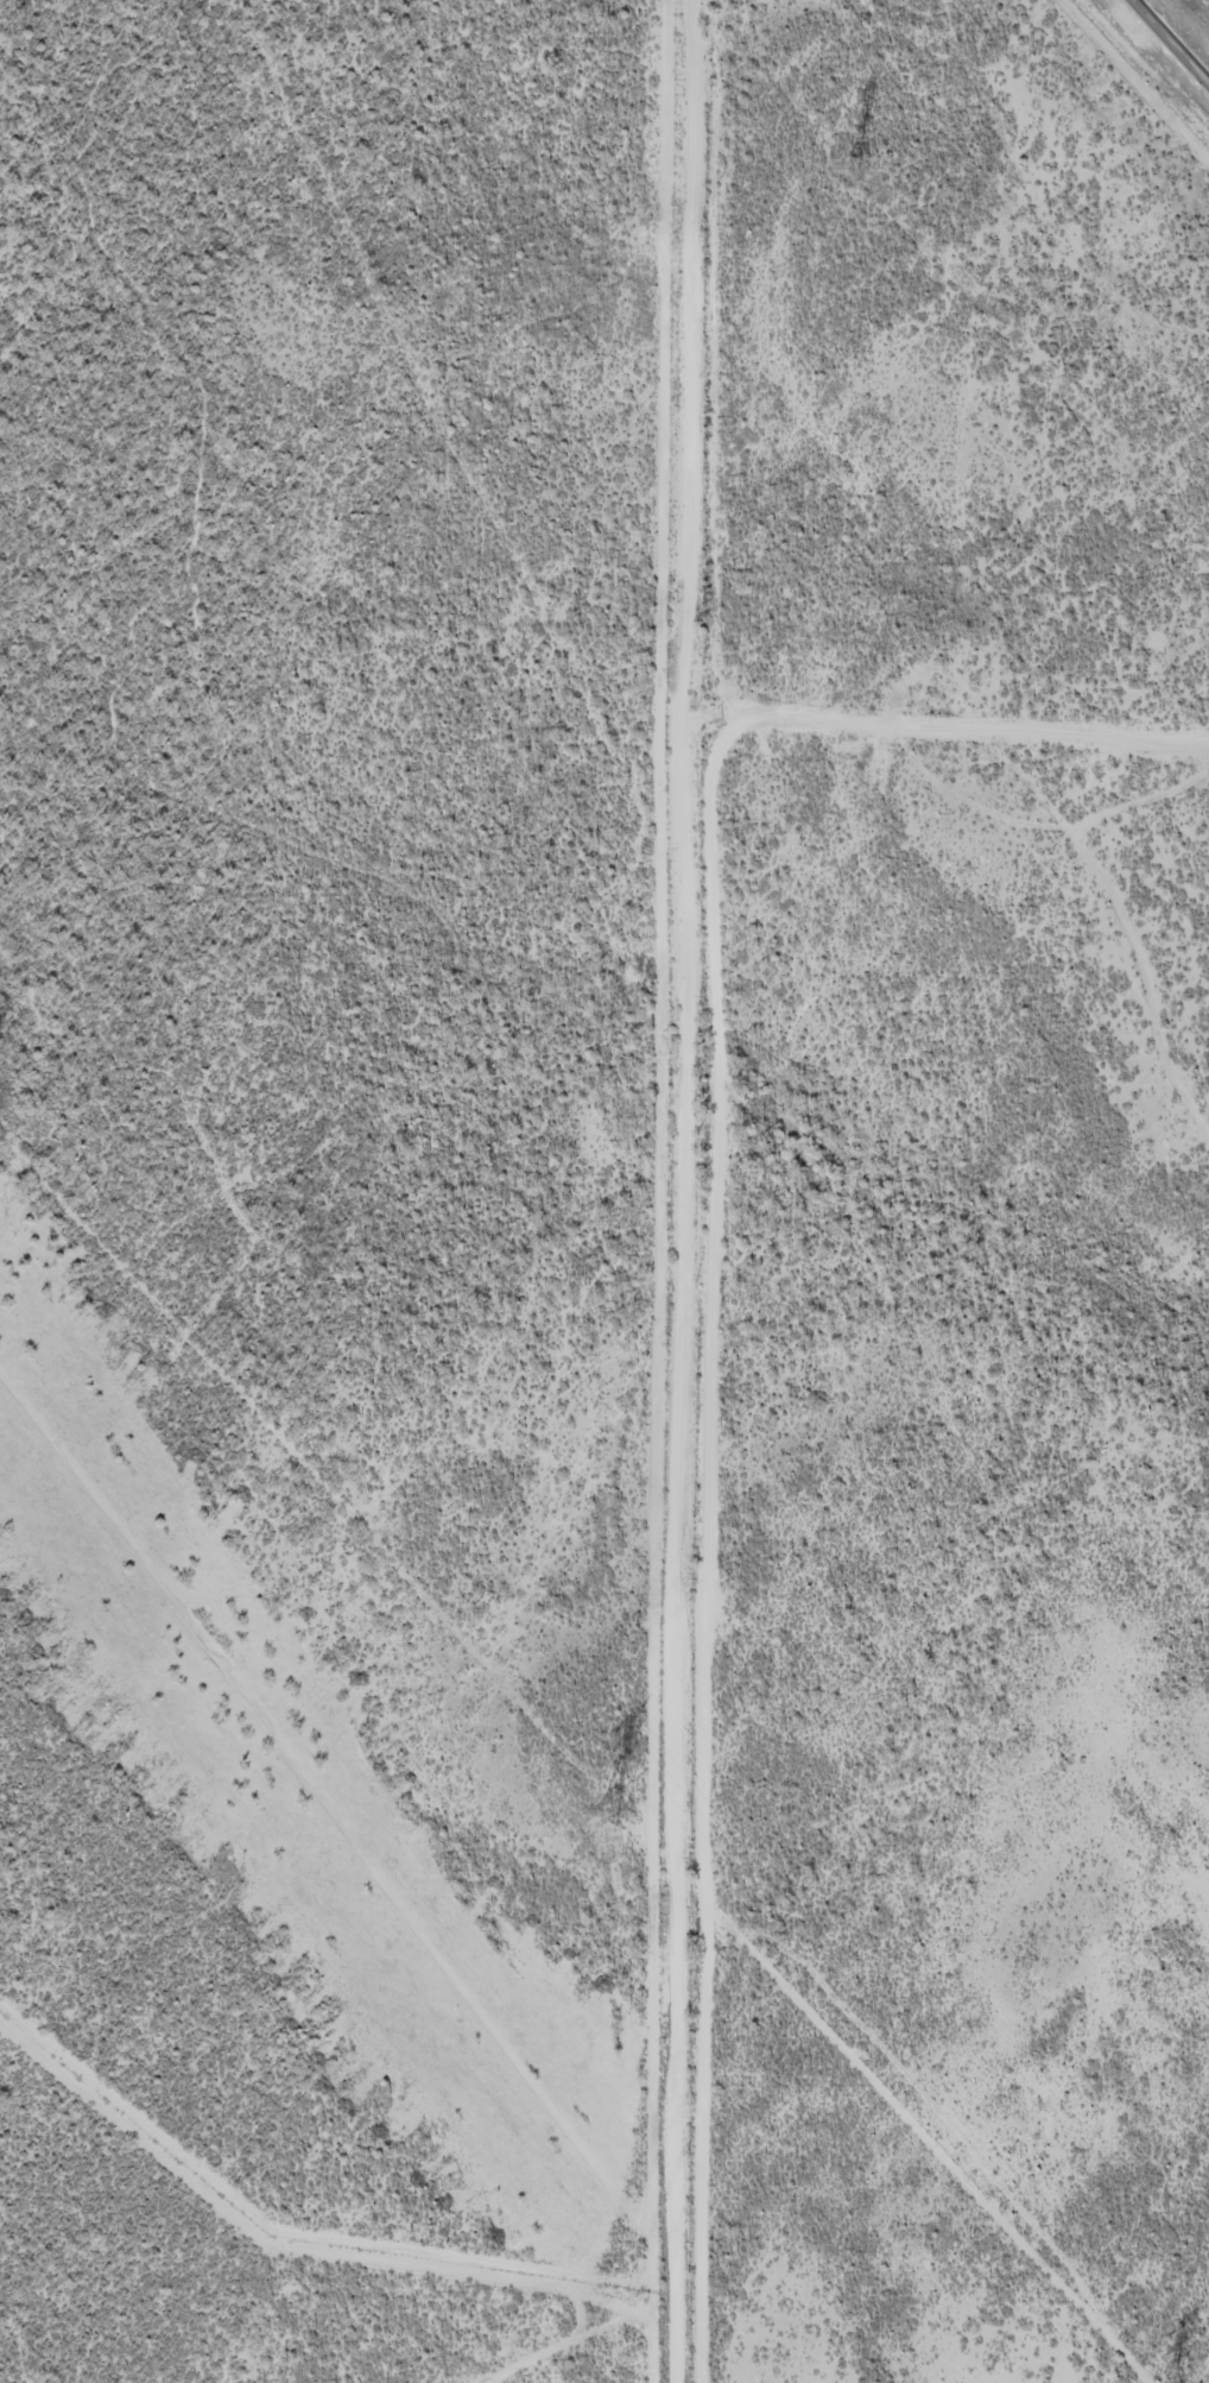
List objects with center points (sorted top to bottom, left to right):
power tower: (850, 170)
power tower: (618, 1808)

